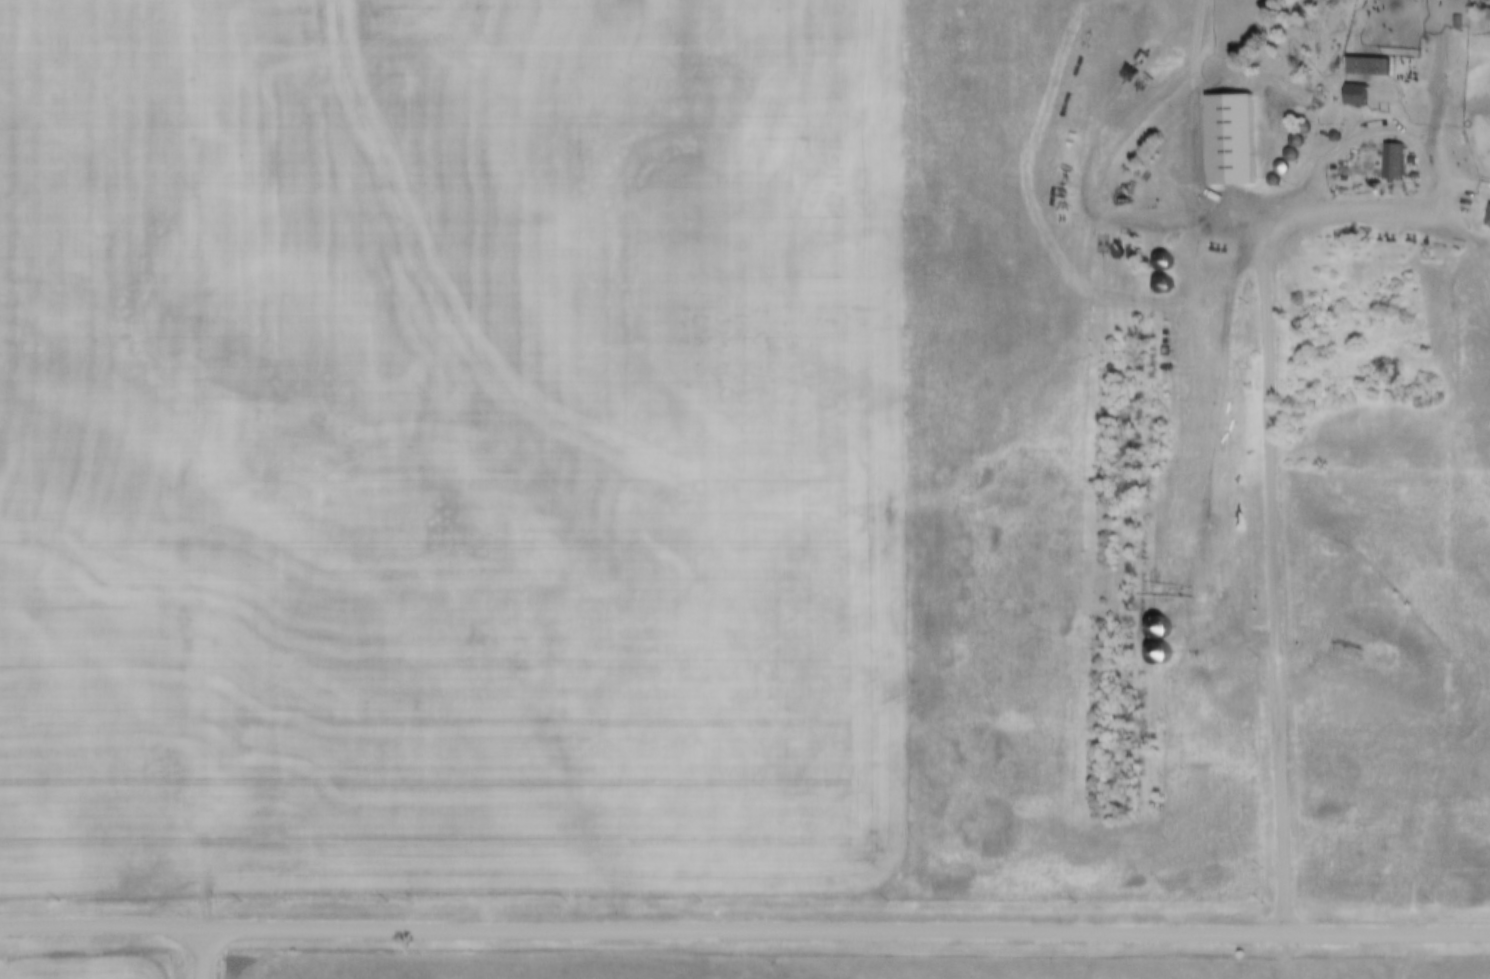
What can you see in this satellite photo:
building: (1488, 17)
building: (1367, 67)
building: (1355, 95)
building: (1230, 139)
building: (1393, 162)
building: (1488, 218)
building: (1164, 260)
building: (1164, 284)
road: (1270, 368)
road: (101, 926)
road: (846, 932)
road: (201, 955)

